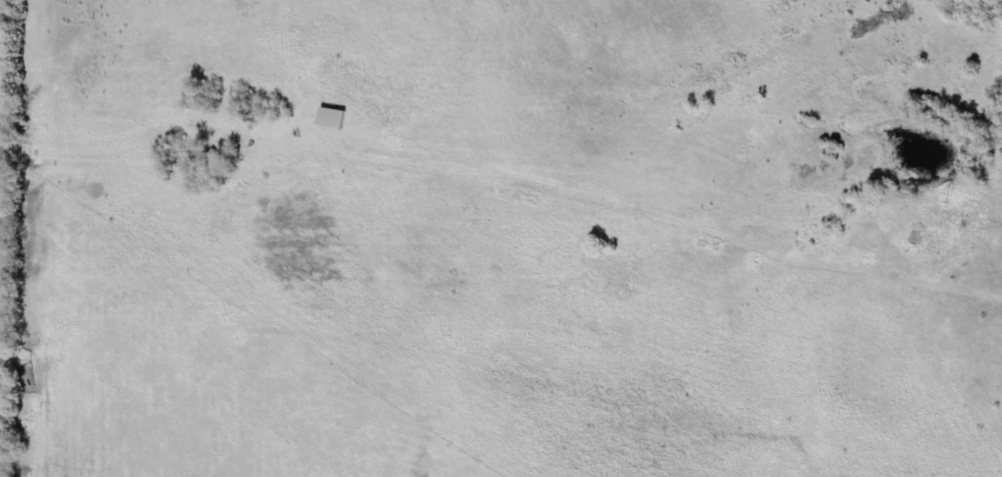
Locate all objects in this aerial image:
building: (336, 119)
power tower: (952, 200)

